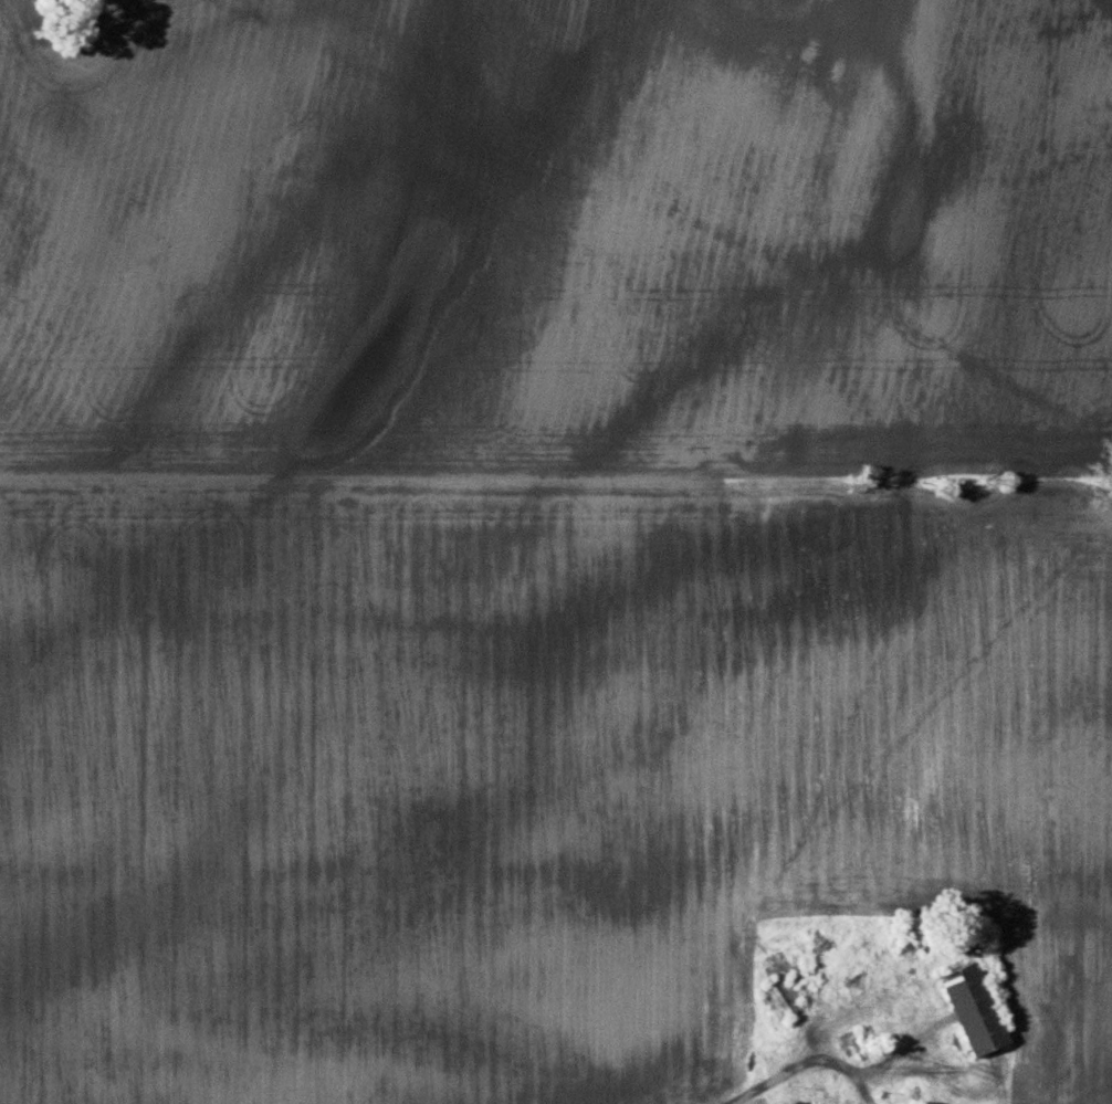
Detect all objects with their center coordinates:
building: (797, 995)
building: (977, 1011)
road: (815, 1063)
building: (800, 1103)

